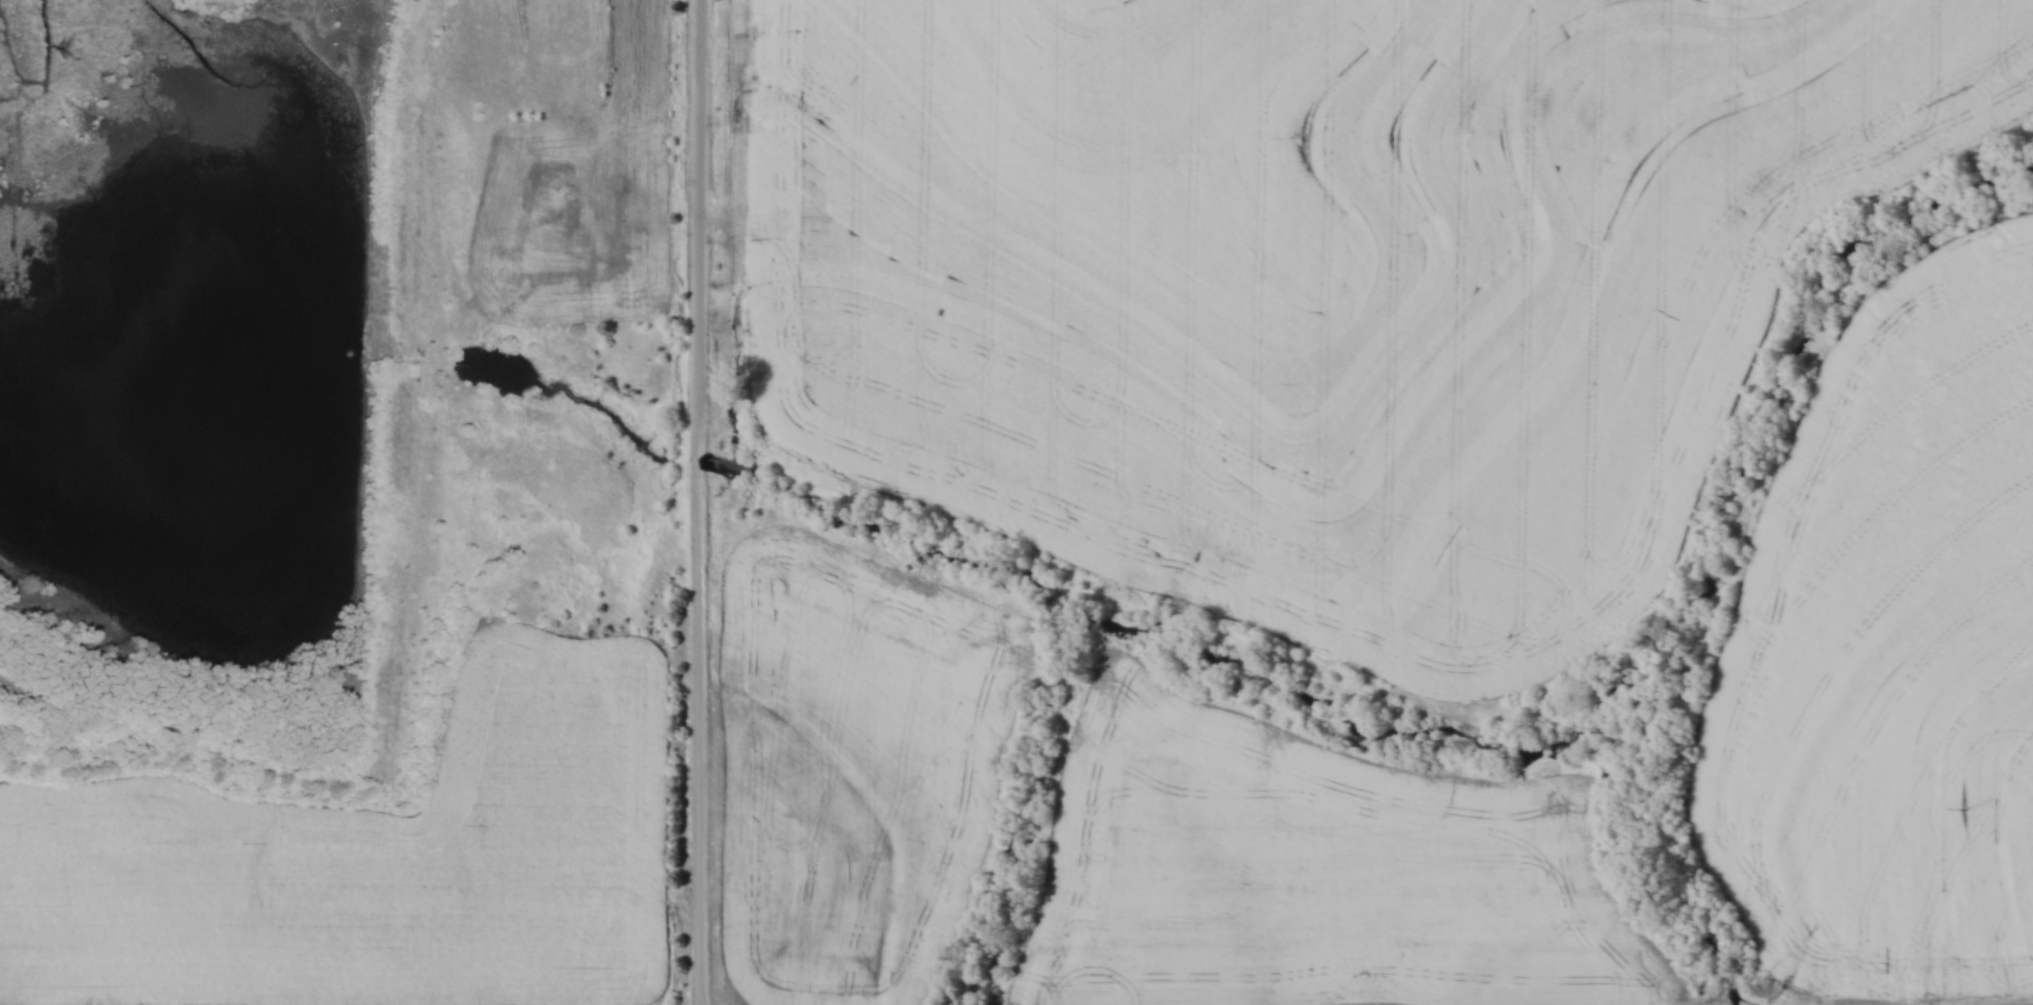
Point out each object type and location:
dam: (408, 391)
road: (701, 502)

